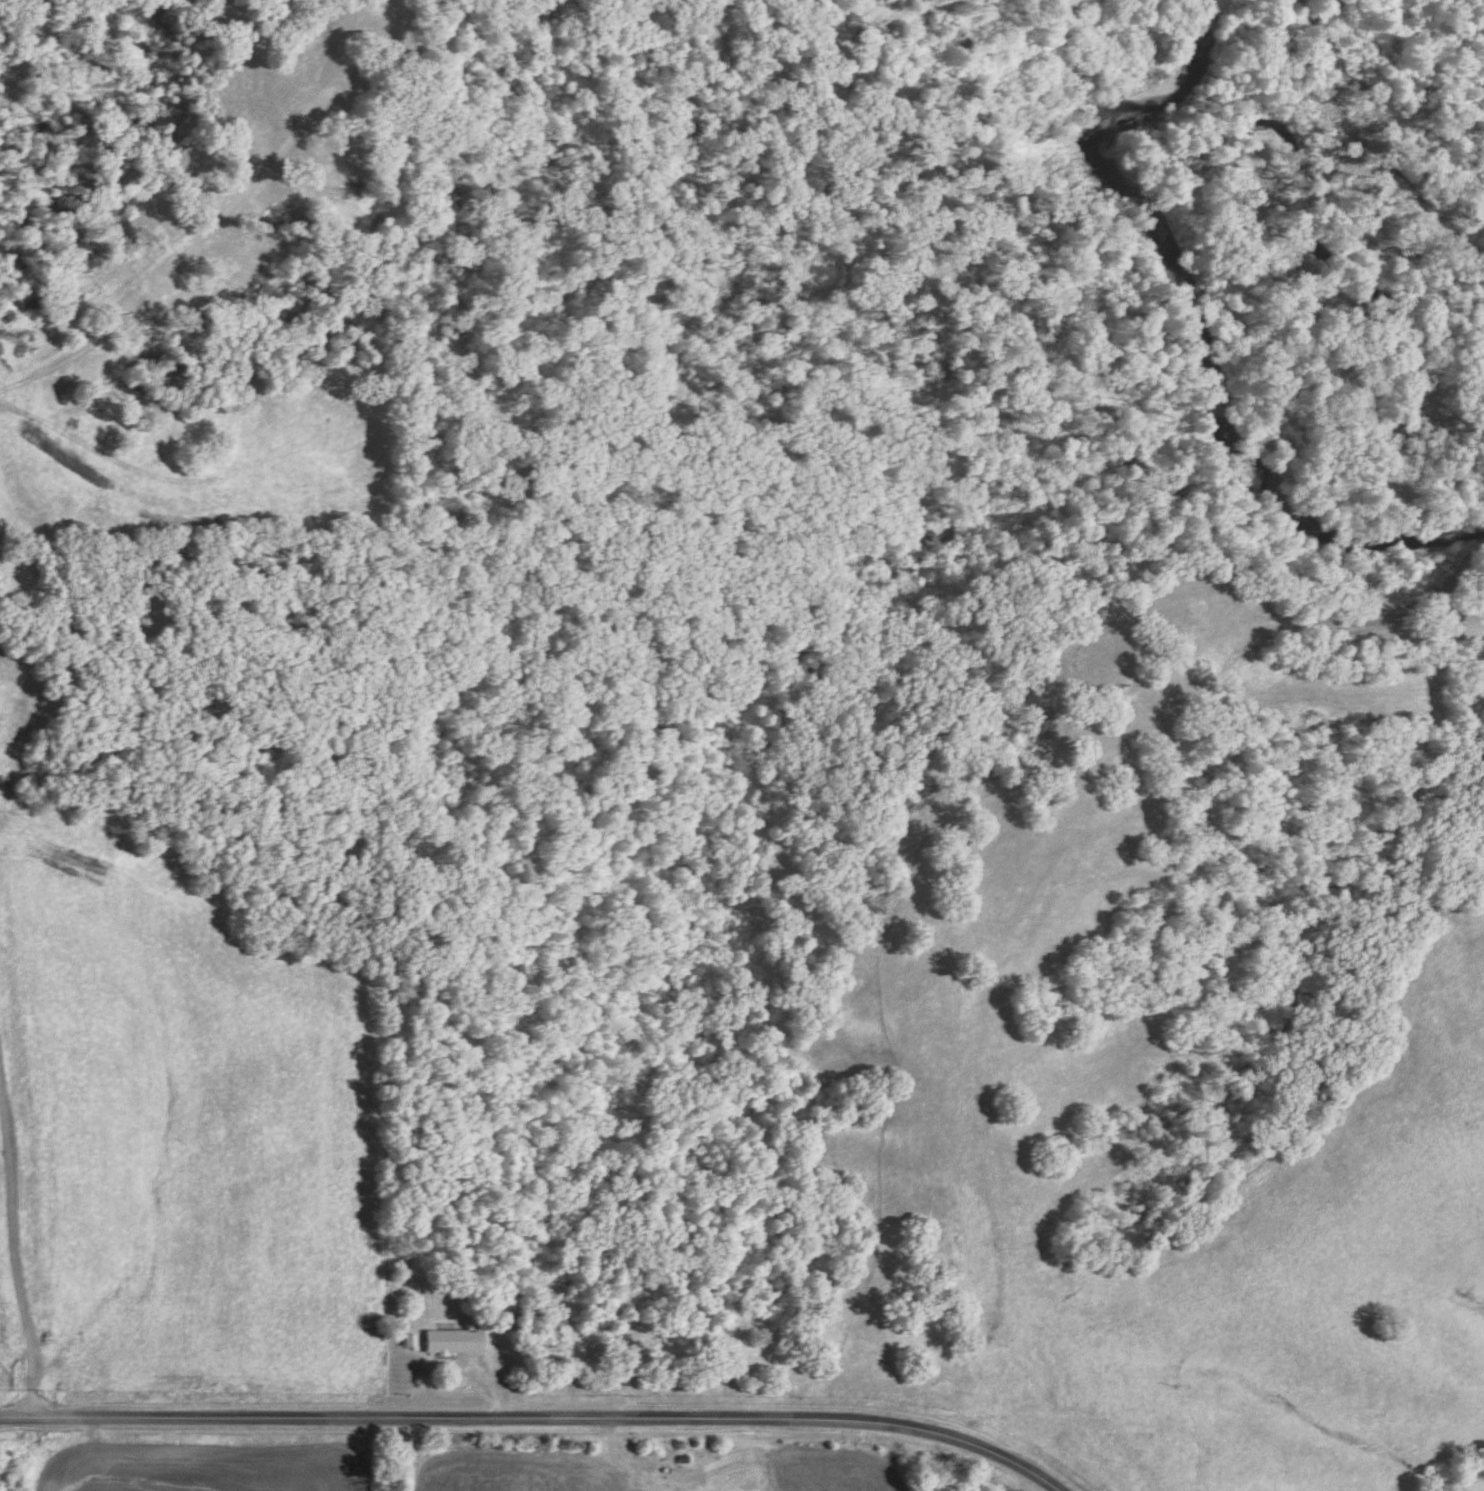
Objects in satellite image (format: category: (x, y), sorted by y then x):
building: (448, 1341)
road: (537, 1423)

